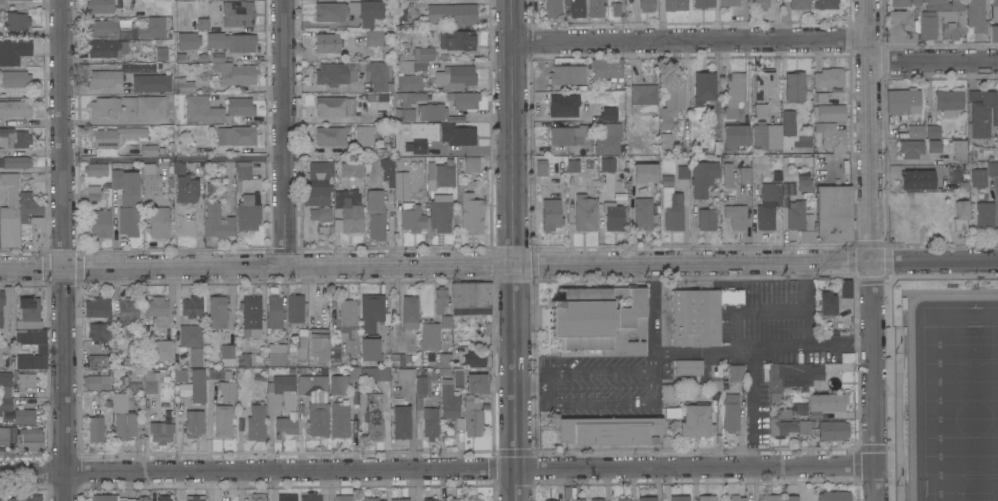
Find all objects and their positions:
building: (2, 2)
building: (730, 2)
building: (904, 2)
building: (703, 3)
building: (760, 4)
building: (799, 4)
building: (825, 4)
building: (647, 5)
building: (675, 5)
building: (943, 5)
building: (100, 6)
building: (367, 8)
building: (553, 8)
building: (577, 8)
building: (597, 8)
building: (616, 8)
building: (330, 11)
building: (994, 11)
building: (237, 13)
building: (451, 13)
building: (977, 15)
building: (17, 21)
building: (200, 22)
building: (953, 24)
building: (927, 25)
building: (102, 27)
building: (154, 27)
building: (899, 27)
building: (994, 33)
building: (377, 37)
building: (187, 40)
building: (457, 40)
road: (689, 40)
building: (232, 41)
building: (328, 42)
building: (111, 48)
building: (14, 51)
building: (160, 53)
building: (186, 53)
building: (423, 53)
building: (198, 57)
road: (933, 61)
building: (410, 65)
building: (96, 67)
building: (134, 67)
building: (608, 68)
building: (335, 73)
building: (568, 74)
building: (378, 75)
building: (455, 76)
building: (16, 78)
building: (104, 78)
building: (830, 78)
building: (237, 79)
building: (151, 82)
building: (410, 82)
building: (762, 86)
building: (795, 86)
building: (704, 87)
road: (321, 88)
building: (734, 94)
building: (974, 95)
building: (409, 97)
building: (643, 98)
building: (671, 99)
building: (465, 100)
building: (949, 101)
building: (904, 103)
building: (563, 104)
building: (105, 106)
building: (146, 106)
building: (240, 106)
building: (335, 106)
building: (15, 108)
building: (202, 109)
building: (432, 111)
building: (831, 112)
building: (608, 113)
building: (405, 114)
building: (982, 115)
road: (102, 122)
building: (787, 122)
building: (916, 130)
building: (933, 131)
road: (869, 133)
building: (364, 134)
building: (457, 134)
building: (115, 135)
building: (236, 135)
road: (285, 135)
building: (331, 135)
building: (567, 135)
building: (736, 135)
building: (766, 135)
building: (831, 136)
building: (14, 138)
building: (607, 139)
building: (665, 140)
building: (934, 146)
building: (414, 147)
building: (955, 149)
building: (148, 150)
building: (910, 150)
building: (2, 152)
road: (174, 156)
building: (15, 162)
building: (471, 164)
building: (541, 164)
building: (608, 164)
building: (572, 165)
building: (176, 167)
building: (991, 168)
building: (95, 169)
building: (243, 169)
building: (352, 169)
building: (388, 170)
building: (683, 171)
building: (320, 172)
building: (440, 174)
building: (645, 174)
building: (727, 174)
building: (954, 174)
building: (745, 175)
building: (150, 177)
building: (703, 177)
building: (976, 178)
building: (916, 179)
building: (401, 185)
building: (804, 185)
building: (186, 189)
building: (93, 192)
building: (316, 195)
building: (906, 197)
building: (127, 201)
building: (768, 205)
building: (28, 206)
building: (672, 208)
building: (470, 209)
building: (348, 210)
building: (584, 212)
building: (983, 212)
building: (248, 213)
building: (644, 213)
building: (320, 214)
building: (376, 214)
building: (551, 214)
building: (833, 214)
building: (10, 215)
building: (736, 215)
building: (795, 215)
building: (959, 215)
building: (426, 216)
building: (613, 216)
building: (937, 217)
building: (706, 219)
building: (159, 221)
building: (100, 223)
building: (217, 223)
building: (323, 226)
building: (807, 229)
building: (33, 232)
road: (64, 250)
road: (514, 250)
road: (934, 267)
road: (692, 268)
road: (399, 270)
road: (142, 271)
street lamp: (971, 272)
street lamp: (894, 274)
road: (852, 278)
street lamp: (972, 285)
building: (844, 288)
building: (440, 299)
building: (472, 299)
street lamp: (884, 302)
building: (826, 305)
building: (156, 306)
building: (191, 306)
road: (397, 306)
building: (4, 307)
building: (97, 307)
building: (296, 309)
building: (127, 310)
building: (274, 311)
building: (372, 311)
road: (650, 311)
road: (751, 311)
building: (217, 312)
building: (29, 313)
building: (699, 315)
building: (251, 316)
building: (409, 319)
building: (599, 319)
building: (446, 321)
building: (349, 325)
building: (99, 331)
road: (886, 333)
building: (190, 335)
building: (430, 335)
road: (806, 339)
building: (302, 344)
building: (319, 345)
building: (370, 347)
road: (780, 348)
building: (41, 349)
building: (159, 349)
building: (227, 351)
street lamp: (893, 352)
building: (134, 354)
building: (276, 354)
building: (335, 354)
building: (196, 356)
building: (405, 357)
building: (847, 357)
building: (474, 358)
building: (246, 359)
building: (444, 360)
building: (97, 361)
building: (688, 367)
building: (354, 368)
building: (734, 371)
road: (630, 372)
building: (181, 374)
building: (405, 374)
building: (799, 374)
building: (457, 376)
building: (132, 379)
building: (98, 380)
building: (26, 381)
building: (150, 383)
building: (477, 383)
building: (5, 384)
building: (338, 384)
road: (873, 384)
building: (198, 385)
building: (223, 386)
building: (185, 389)
building: (665, 394)
track: (952, 396)
building: (776, 398)
road: (754, 399)
building: (449, 400)
building: (826, 401)
building: (315, 402)
building: (426, 403)
building: (429, 403)
building: (5, 404)
road: (604, 404)
building: (286, 406)
building: (800, 408)
building: (731, 412)
building: (783, 413)
park: (958, 413)
building: (371, 414)
building: (24, 416)
building: (472, 416)
building: (123, 417)
building: (339, 419)
building: (223, 420)
building: (696, 421)
building: (194, 422)
building: (256, 422)
building: (401, 422)
building: (781, 427)
building: (804, 427)
building: (95, 429)
building: (608, 430)
building: (833, 430)
building: (161, 432)
building: (7, 434)
building: (31, 441)
road: (854, 463)
road: (437, 471)
street lamp: (886, 475)
street lamp: (894, 485)
building: (571, 493)
building: (834, 496)
building: (258, 497)
building: (286, 497)
building: (310, 497)
building: (736, 497)
building: (771, 497)
building: (24, 498)
building: (116, 498)
building: (163, 498)
building: (195, 498)
building: (344, 498)
building: (372, 498)
building: (679, 498)
building: (706, 498)
building: (791, 498)
building: (400, 499)
building: (430, 499)
building: (453, 499)
building: (475, 499)
building: (597, 499)
building: (623, 499)
building: (647, 499)
building: (550, 500)

